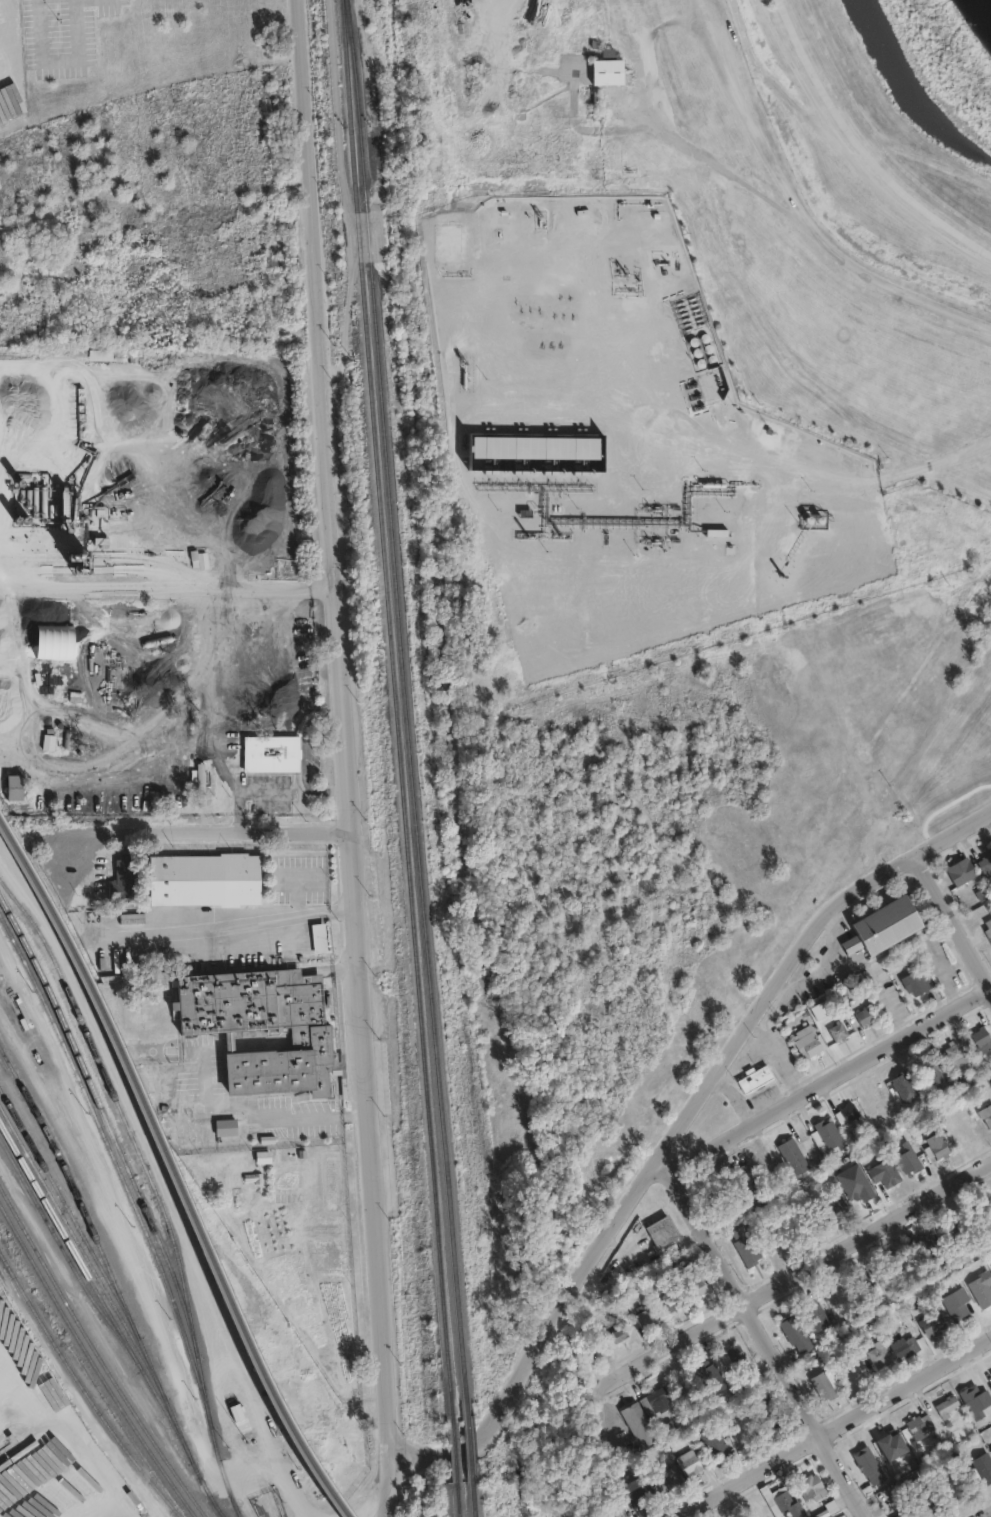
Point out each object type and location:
helipad: (482, 10)
parking lot: (61, 35)
road: (58, 59)
building: (608, 63)
road: (745, 115)
road: (833, 118)
road: (844, 149)
road: (344, 194)
petroleum well: (537, 216)
road: (376, 236)
road: (820, 236)
building: (452, 240)
petroleum well: (634, 280)
building: (535, 448)
road: (797, 465)
building: (69, 509)
petroleum well: (807, 521)
building: (100, 540)
building: (199, 555)
road: (165, 589)
building: (54, 637)
road: (285, 646)
railway: (404, 699)
railway: (393, 703)
road: (339, 730)
building: (271, 748)
park: (944, 778)
building: (202, 781)
building: (10, 782)
road: (943, 807)
road: (204, 833)
building: (985, 863)
building: (960, 871)
road: (297, 875)
building: (123, 877)
building: (205, 882)
road: (295, 894)
road: (956, 915)
road: (261, 918)
building: (883, 927)
building: (987, 927)
building: (317, 935)
road: (833, 939)
road: (852, 962)
building: (916, 978)
building: (867, 1016)
building: (265, 1028)
building: (841, 1032)
building: (982, 1037)
building: (810, 1046)
building: (958, 1052)
building: (931, 1066)
building: (756, 1076)
road: (824, 1080)
building: (904, 1082)
railway: (116, 1103)
building: (849, 1109)
building: (986, 1112)
road: (261, 1113)
building: (225, 1128)
road: (678, 1130)
building: (829, 1132)
railway: (118, 1146)
building: (935, 1146)
building: (262, 1156)
building: (793, 1157)
building: (908, 1158)
railway: (117, 1170)
building: (740, 1170)
building: (882, 1170)
railway: (174, 1175)
building: (253, 1176)
railway: (64, 1206)
building: (831, 1206)
building: (663, 1232)
building: (954, 1232)
building: (926, 1245)
building: (745, 1247)
railway: (80, 1249)
railway: (62, 1251)
railway: (101, 1251)
building: (898, 1263)
road: (800, 1274)
railway: (89, 1281)
building: (865, 1282)
building: (697, 1285)
building: (982, 1285)
building: (839, 1296)
building: (958, 1301)
building: (672, 1303)
building: (647, 1318)
building: (817, 1318)
building: (934, 1320)
building: (789, 1323)
building: (621, 1335)
road: (763, 1339)
building: (905, 1344)
building: (736, 1354)
railway: (97, 1356)
building: (881, 1356)
railway: (92, 1366)
building: (990, 1373)
building: (711, 1378)
building: (990, 1385)
building: (826, 1387)
railway: (83, 1390)
building: (973, 1399)
building: (655, 1400)
building: (948, 1406)
building: (772, 1416)
building: (637, 1420)
road: (832, 1426)
building: (921, 1426)
railway: (126, 1429)
railway: (468, 1439)
building: (712, 1439)
building: (990, 1443)
road: (597, 1445)
railway: (454, 1447)
building: (990, 1449)
building: (688, 1458)
building: (868, 1465)
building: (983, 1467)
railway: (224, 1474)
building: (666, 1475)
building: (810, 1484)
railway: (206, 1488)
road: (395, 1489)
building: (952, 1489)
building: (641, 1492)
building: (782, 1497)
railway: (473, 1498)
railway: (458, 1502)
building: (827, 1506)
building: (927, 1506)
railway: (236, 1511)
road: (104, 1513)
building: (902, 1515)
road: (988, 1515)

